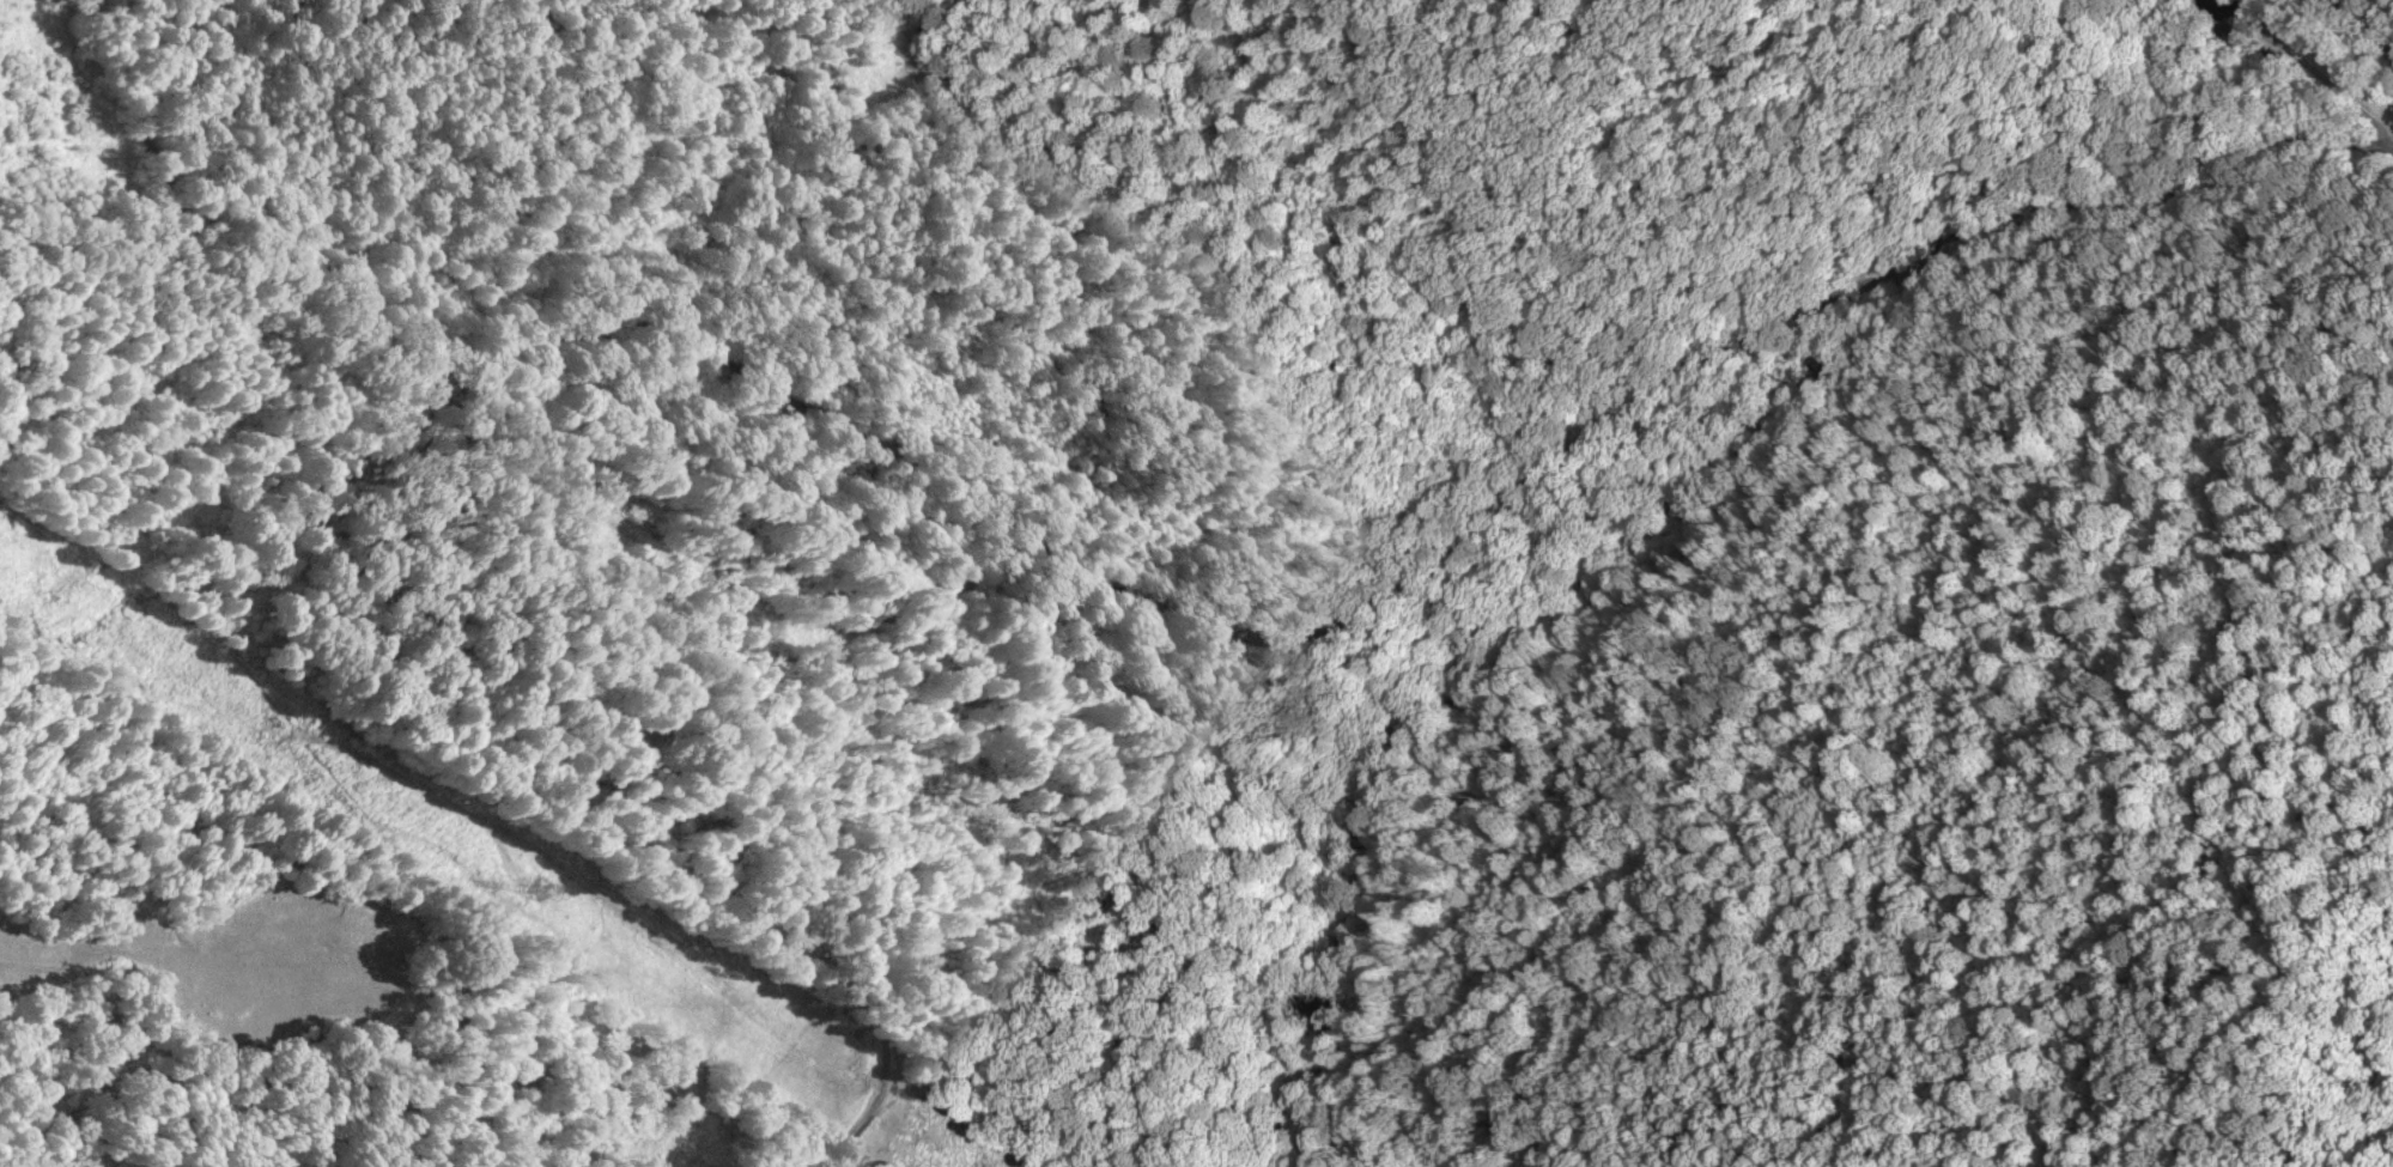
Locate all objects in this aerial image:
road: (250, 219)
road: (1433, 535)
road: (753, 730)
power tower: (542, 888)

